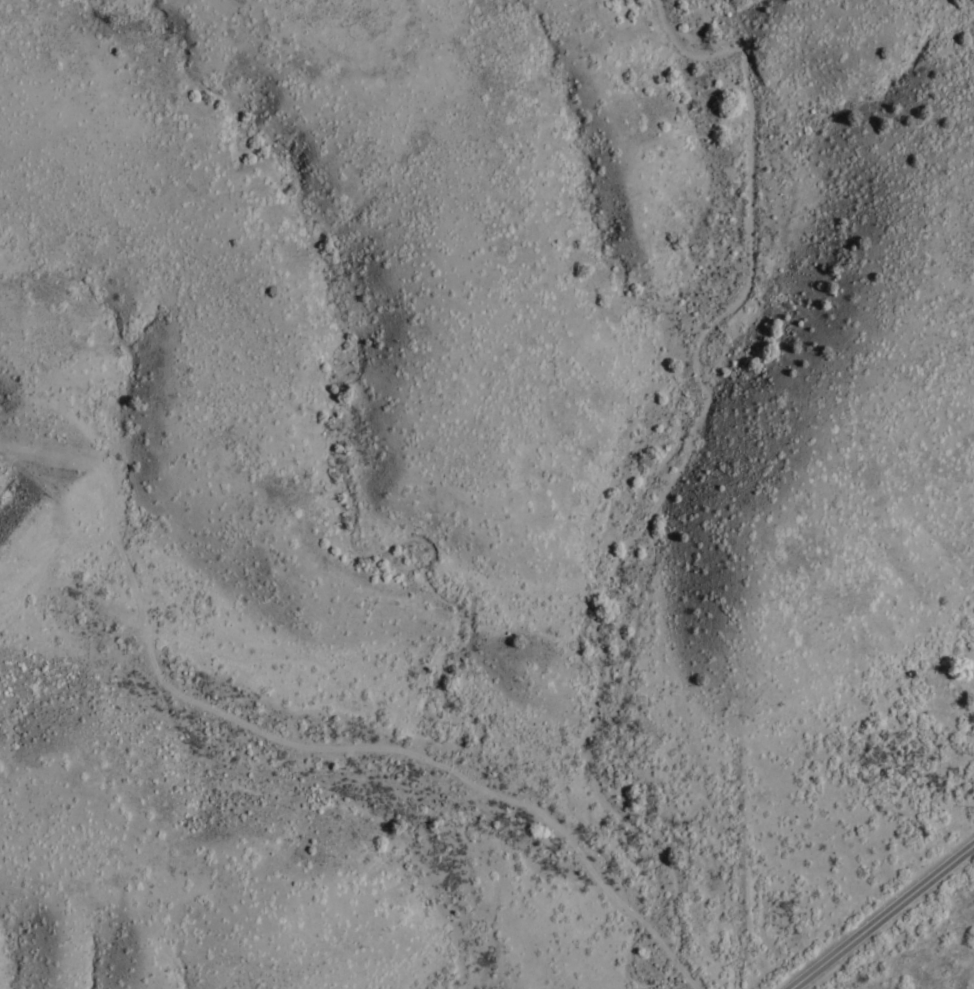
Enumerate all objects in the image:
road: (882, 917)

